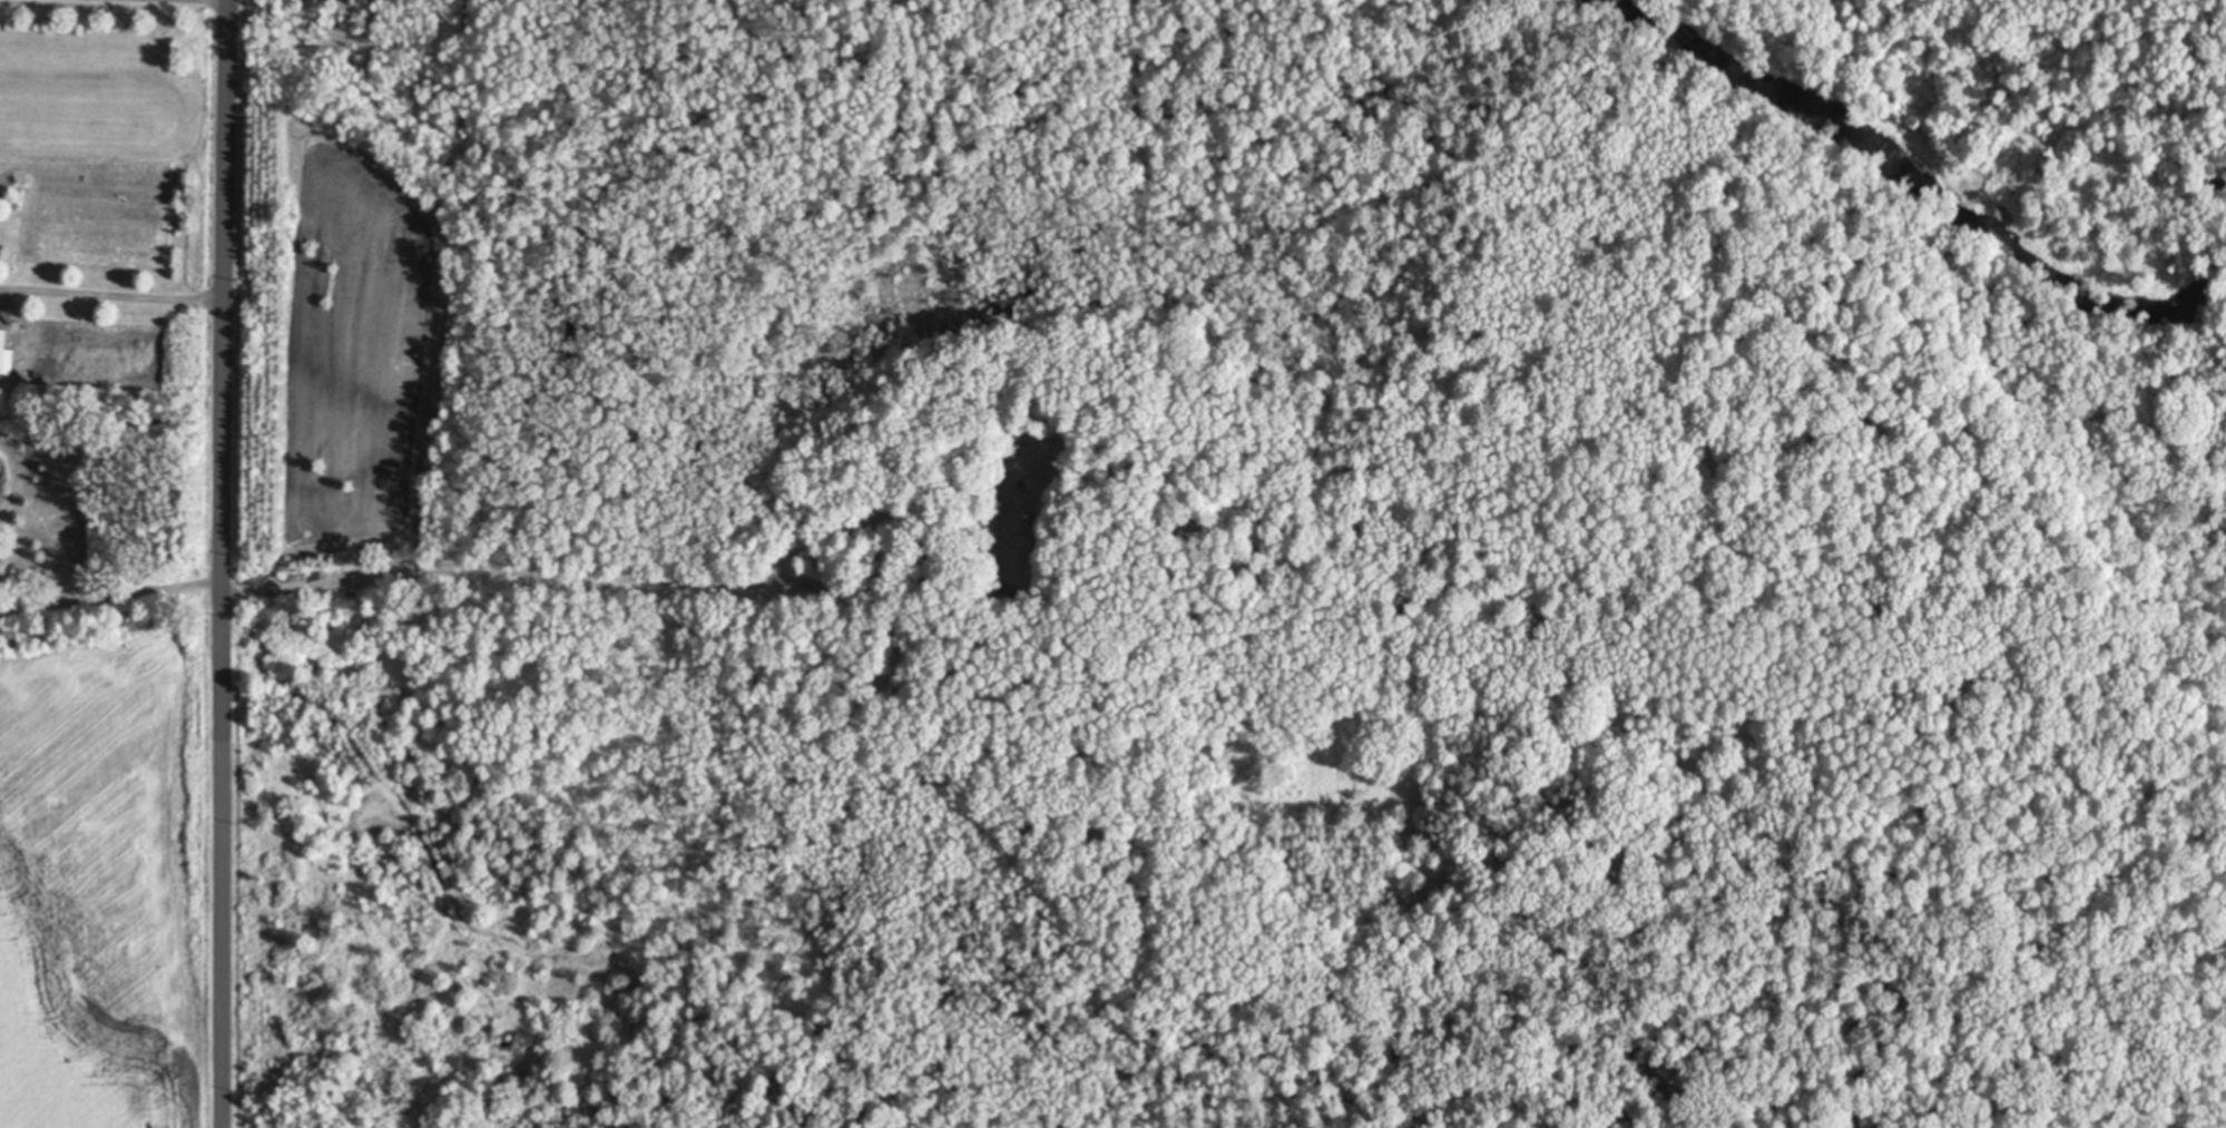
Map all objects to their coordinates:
river: (1931, 193)
road: (111, 288)
building: (6, 352)
building: (1009, 437)
building: (881, 541)
road: (217, 563)
building: (925, 585)
road: (108, 591)

